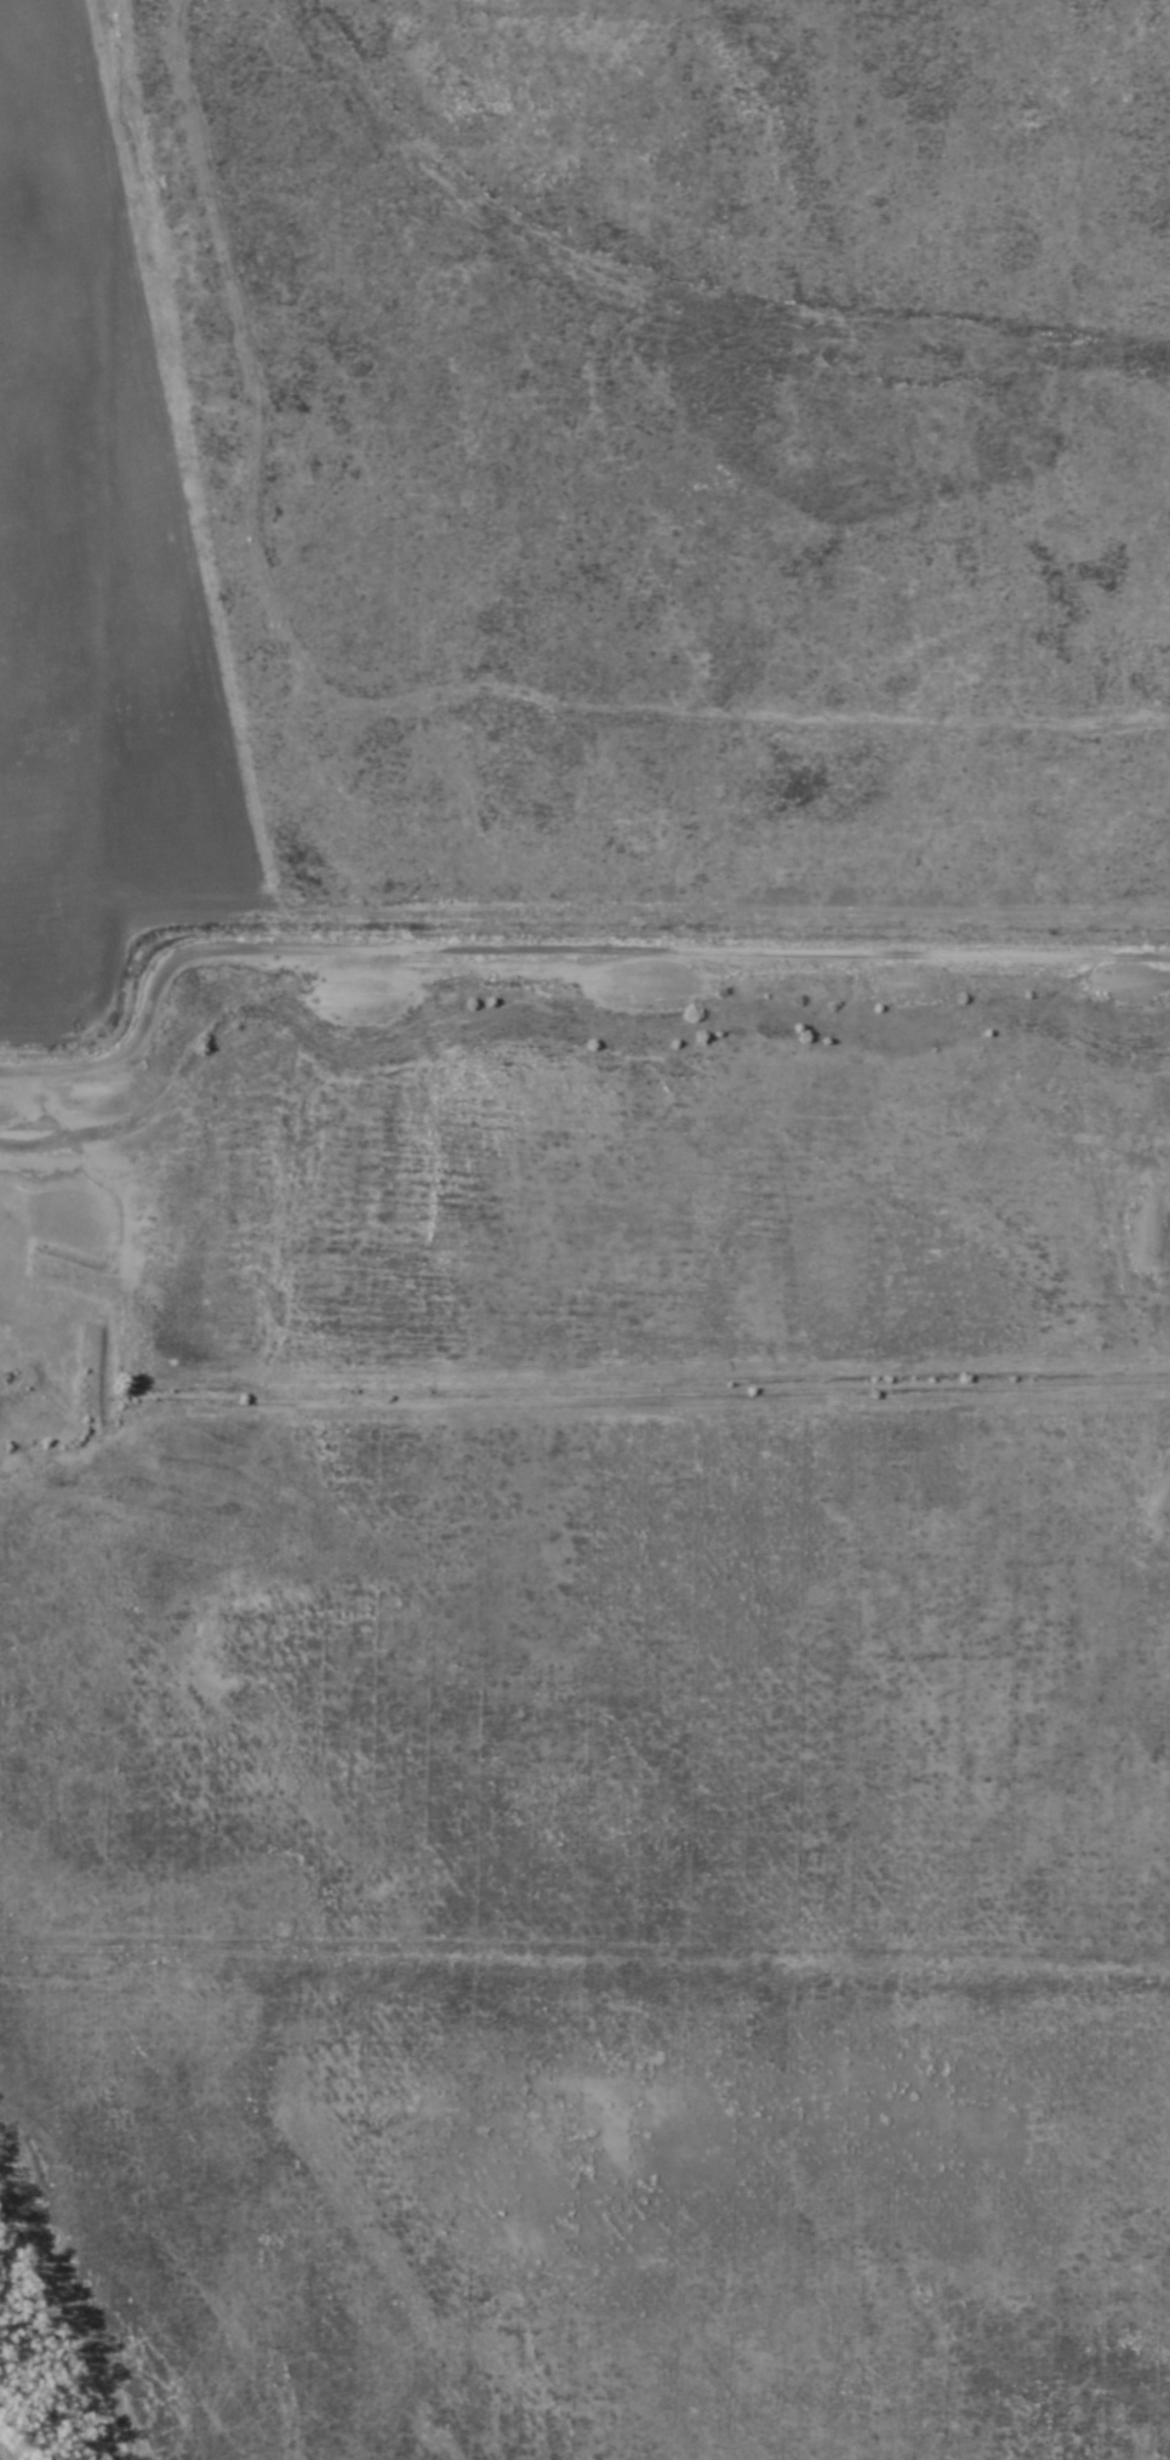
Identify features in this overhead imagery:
crop: (584, 1230)

